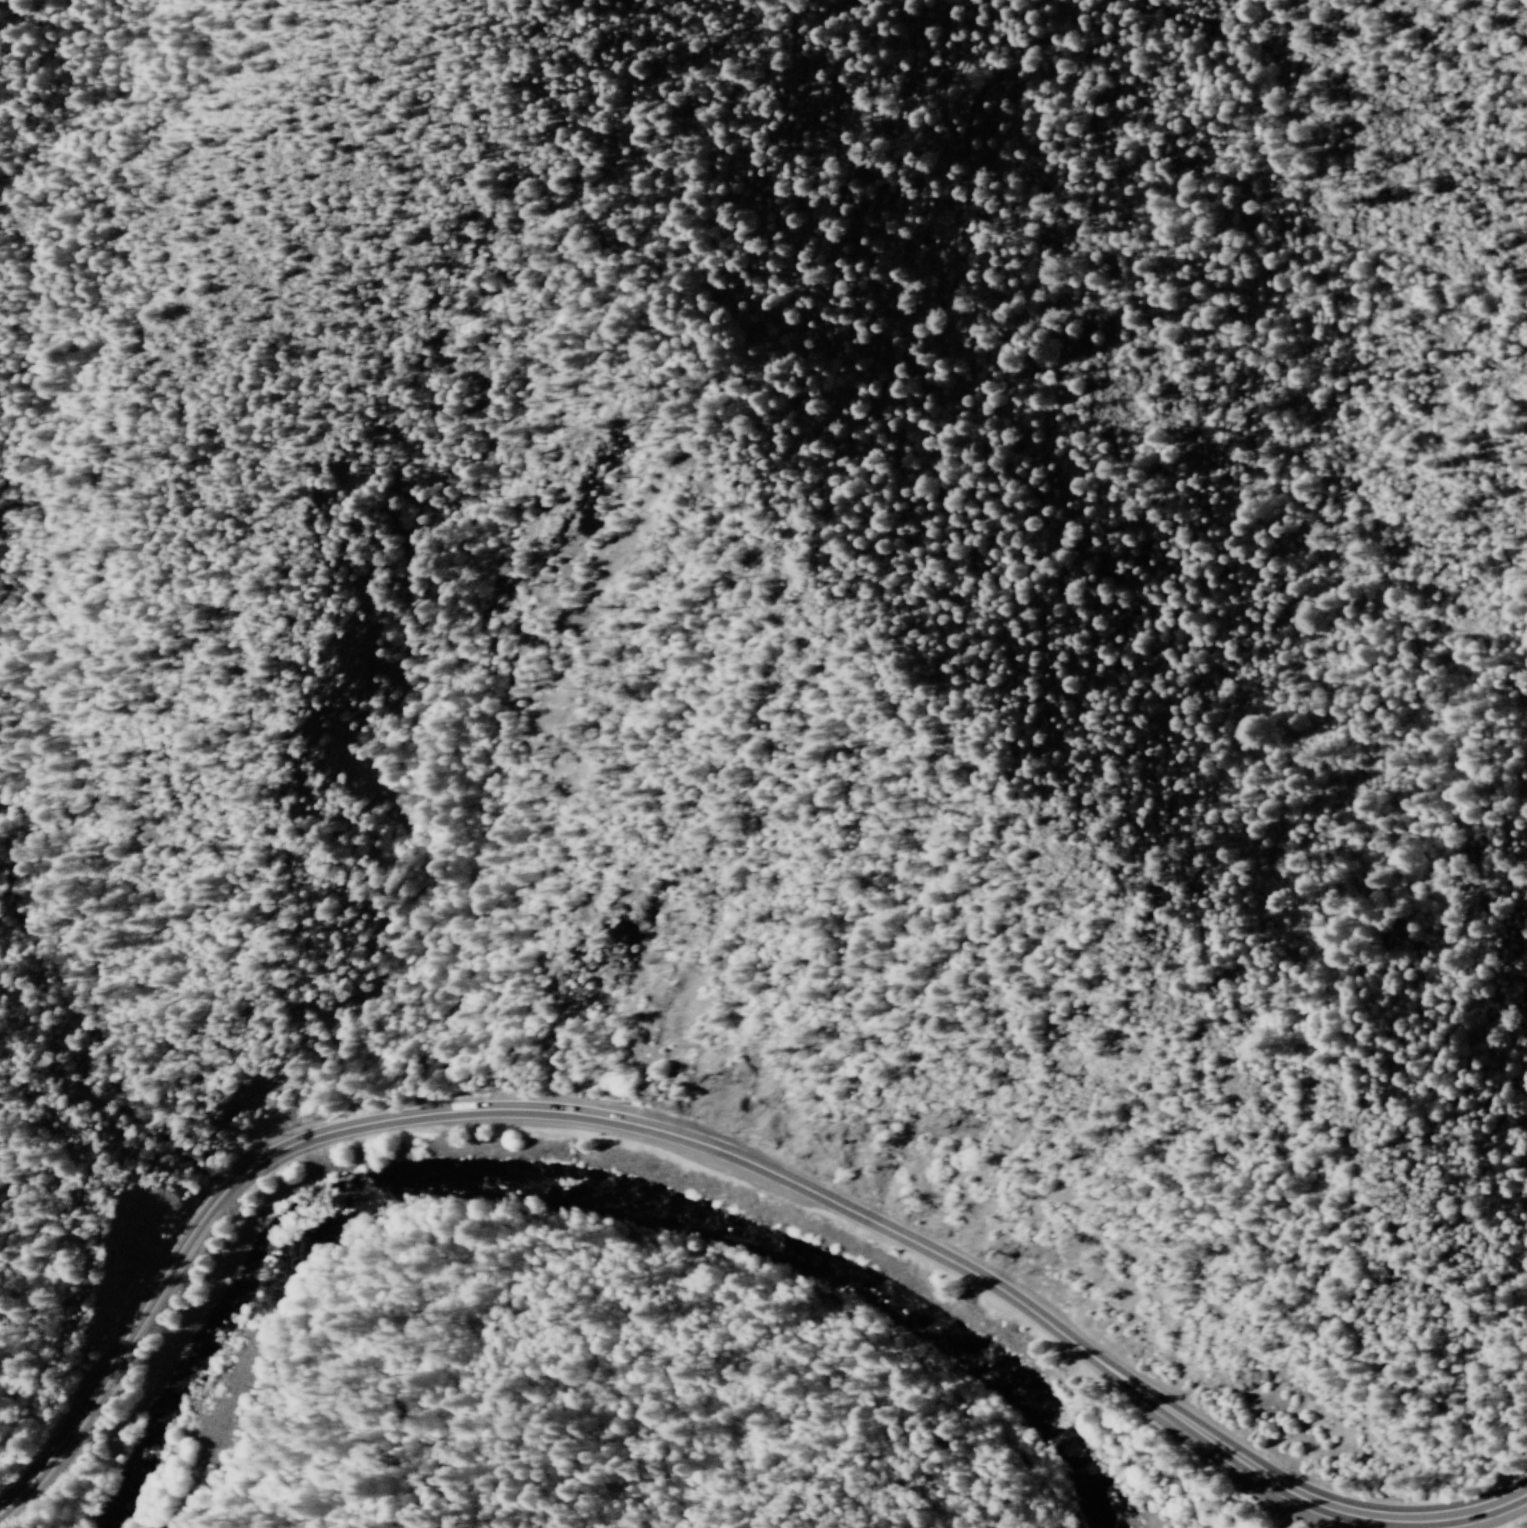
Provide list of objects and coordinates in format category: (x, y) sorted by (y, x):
road: (724, 1154)
river: (342, 1176)
river: (801, 1245)
river: (169, 1384)
river: (1100, 1505)

